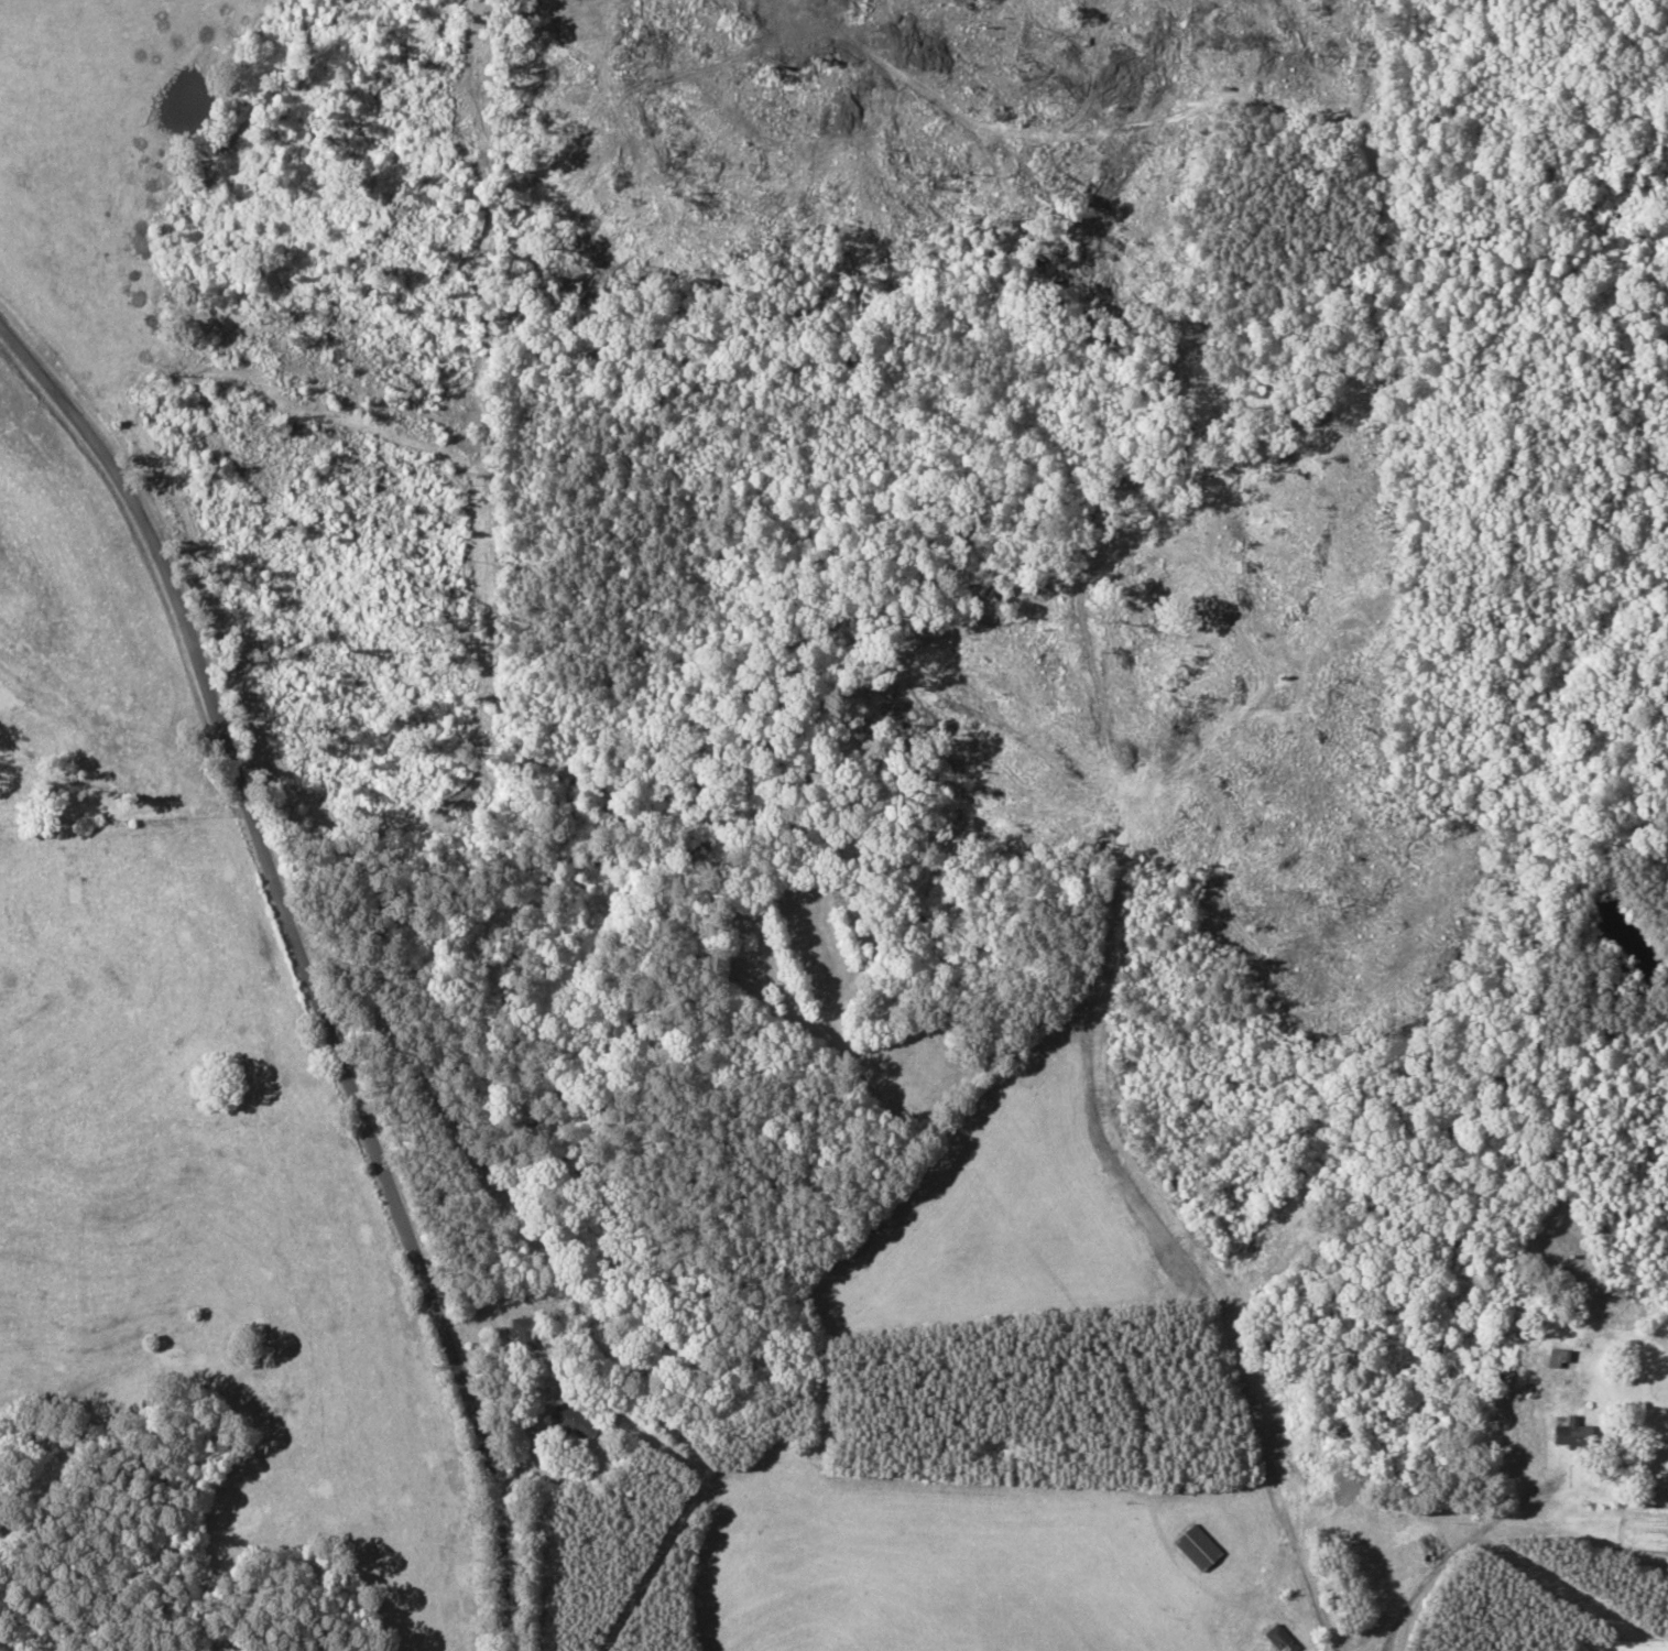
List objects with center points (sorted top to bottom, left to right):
road: (305, 966)
building: (521, 1332)
building: (1557, 1357)
building: (573, 1416)
building: (1573, 1433)
road: (1427, 1533)
building: (1413, 1534)
building: (1198, 1546)

